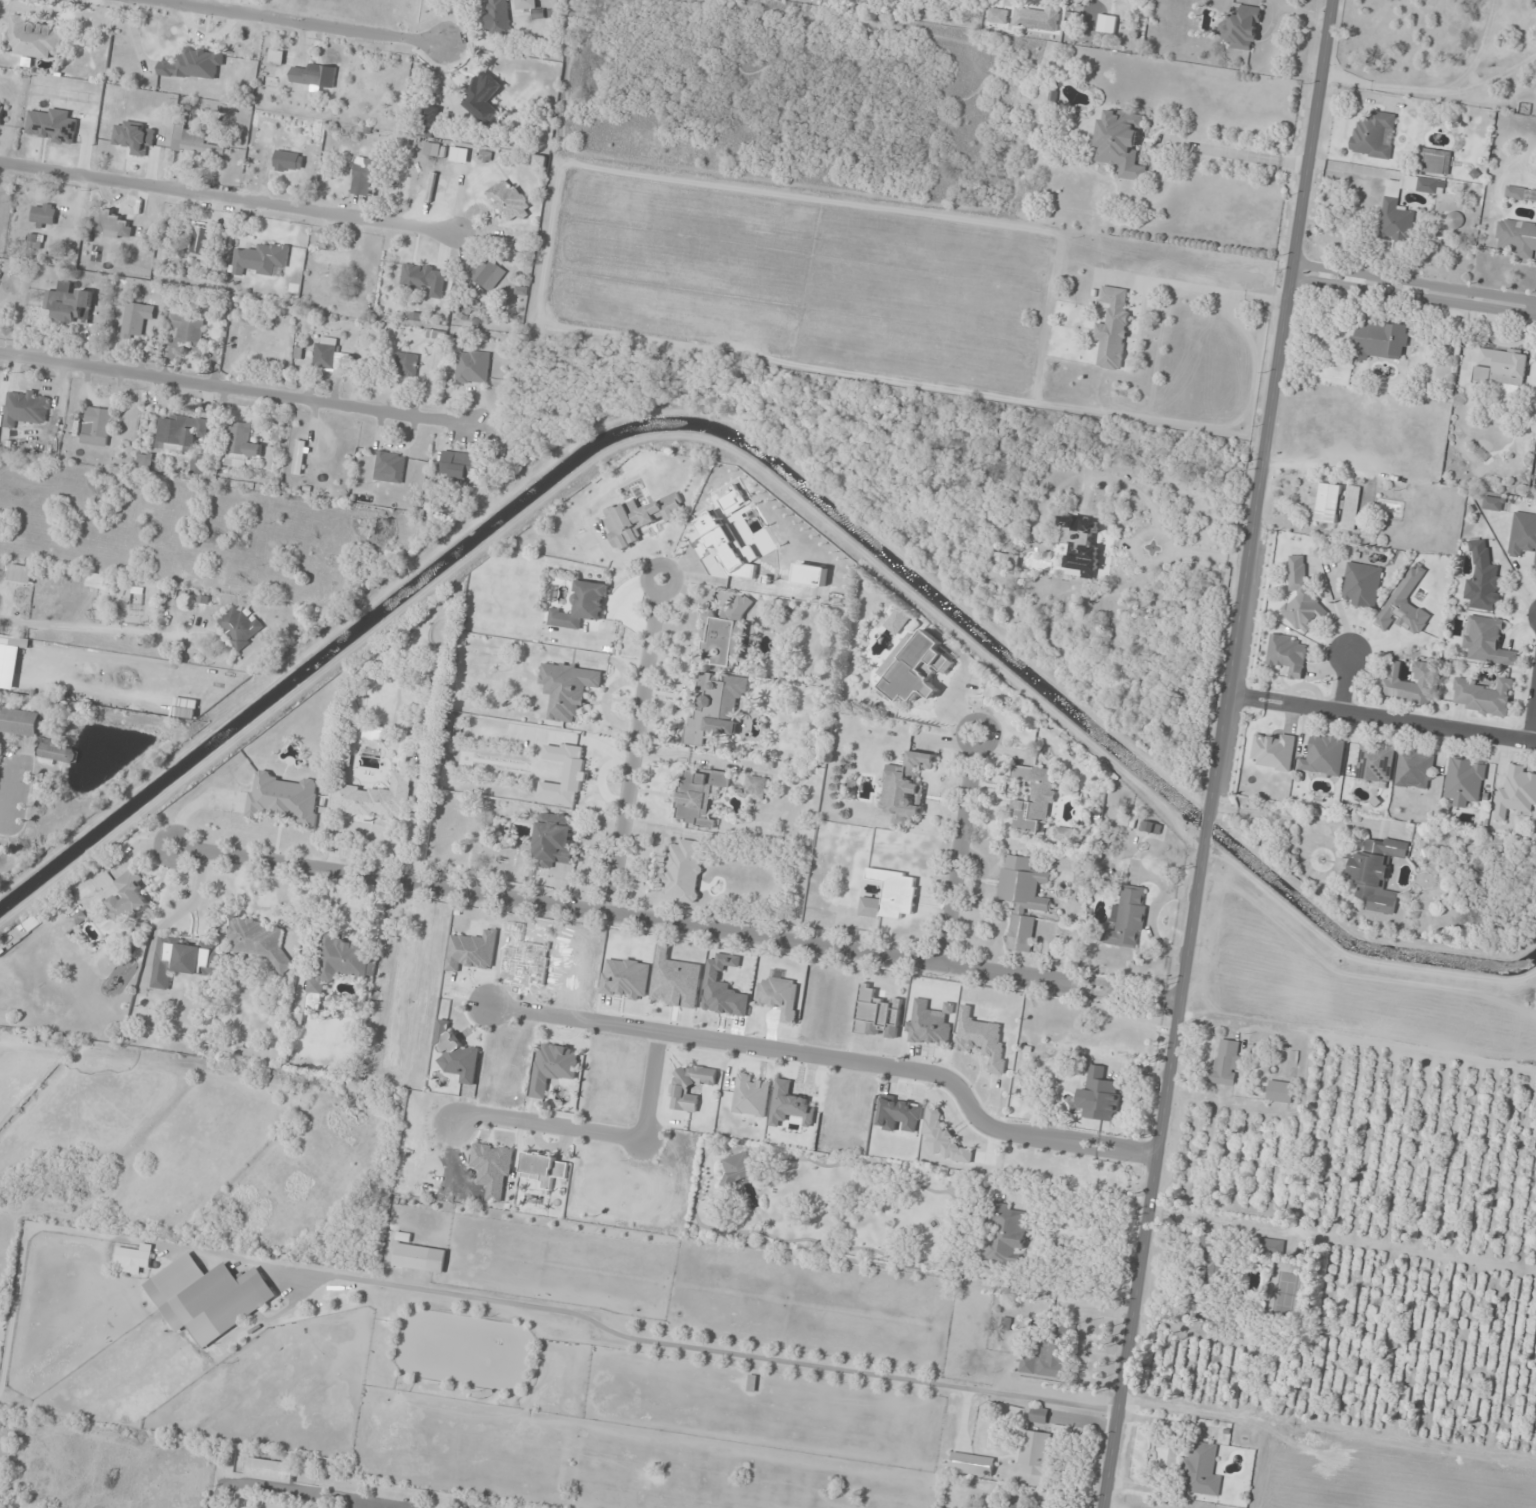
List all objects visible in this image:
building: (526, 5)
building: (998, 16)
building: (498, 17)
building: (1039, 17)
building: (1107, 24)
road: (277, 25)
building: (1241, 29)
building: (34, 38)
building: (194, 64)
building: (314, 74)
road: (1432, 91)
building: (485, 97)
building: (1, 110)
building: (432, 116)
building: (270, 135)
building: (1374, 135)
building: (1120, 142)
building: (196, 143)
building: (288, 161)
building: (1436, 162)
building: (364, 175)
building: (1520, 194)
building: (509, 200)
road: (226, 201)
building: (1395, 209)
building: (43, 215)
building: (1455, 220)
building: (115, 224)
building: (1516, 238)
building: (201, 239)
building: (34, 241)
building: (331, 257)
building: (261, 259)
building: (488, 273)
building: (425, 277)
road: (1414, 282)
building: (70, 305)
building: (137, 317)
building: (1113, 327)
building: (188, 328)
building: (438, 334)
building: (1381, 340)
building: (239, 344)
building: (328, 357)
building: (406, 364)
building: (1501, 366)
building: (473, 367)
road: (240, 390)
building: (26, 407)
road: (1268, 421)
building: (97, 426)
building: (180, 432)
building: (241, 445)
building: (300, 457)
building: (271, 458)
building: (145, 459)
building: (461, 465)
building: (390, 467)
building: (1493, 503)
building: (1339, 505)
building: (639, 518)
building: (1523, 534)
building: (1081, 543)
building: (1483, 579)
building: (98, 580)
building: (1362, 584)
building: (1303, 598)
building: (582, 606)
building: (239, 626)
building: (725, 635)
building: (1487, 641)
building: (1287, 655)
building: (915, 667)
road: (1343, 682)
building: (1410, 683)
building: (568, 688)
building: (1484, 696)
building: (716, 707)
road: (1381, 718)
building: (21, 721)
road: (1533, 721)
road: (634, 746)
building: (58, 752)
building: (1324, 755)
building: (1375, 762)
building: (1415, 768)
building: (564, 774)
building: (1465, 780)
building: (756, 787)
building: (905, 788)
building: (1517, 792)
building: (698, 795)
building: (1033, 797)
building: (375, 798)
building: (284, 799)
building: (1064, 833)
building: (554, 839)
road: (959, 850)
building: (683, 870)
building: (1377, 873)
building: (891, 895)
building: (129, 897)
building: (1023, 898)
building: (1128, 918)
road: (674, 922)
building: (261, 940)
building: (184, 959)
building: (340, 963)
building: (676, 981)
building: (723, 988)
building: (780, 996)
building: (878, 1014)
building: (928, 1024)
road: (790, 1052)
building: (1226, 1064)
building: (554, 1067)
building: (690, 1086)
building: (1280, 1091)
building: (1100, 1096)
road: (598, 1134)
building: (945, 1140)
road: (1072, 1142)
road: (1135, 1152)
building: (544, 1168)
building: (739, 1168)
road: (1150, 1174)
building: (1009, 1233)
building: (1229, 1256)
building: (420, 1258)
building: (135, 1259)
building: (209, 1297)
building: (1047, 1360)
building: (1039, 1415)
building: (1038, 1453)
building: (270, 1470)
building: (1201, 1470)
road: (288, 1492)
building: (1024, 1506)

